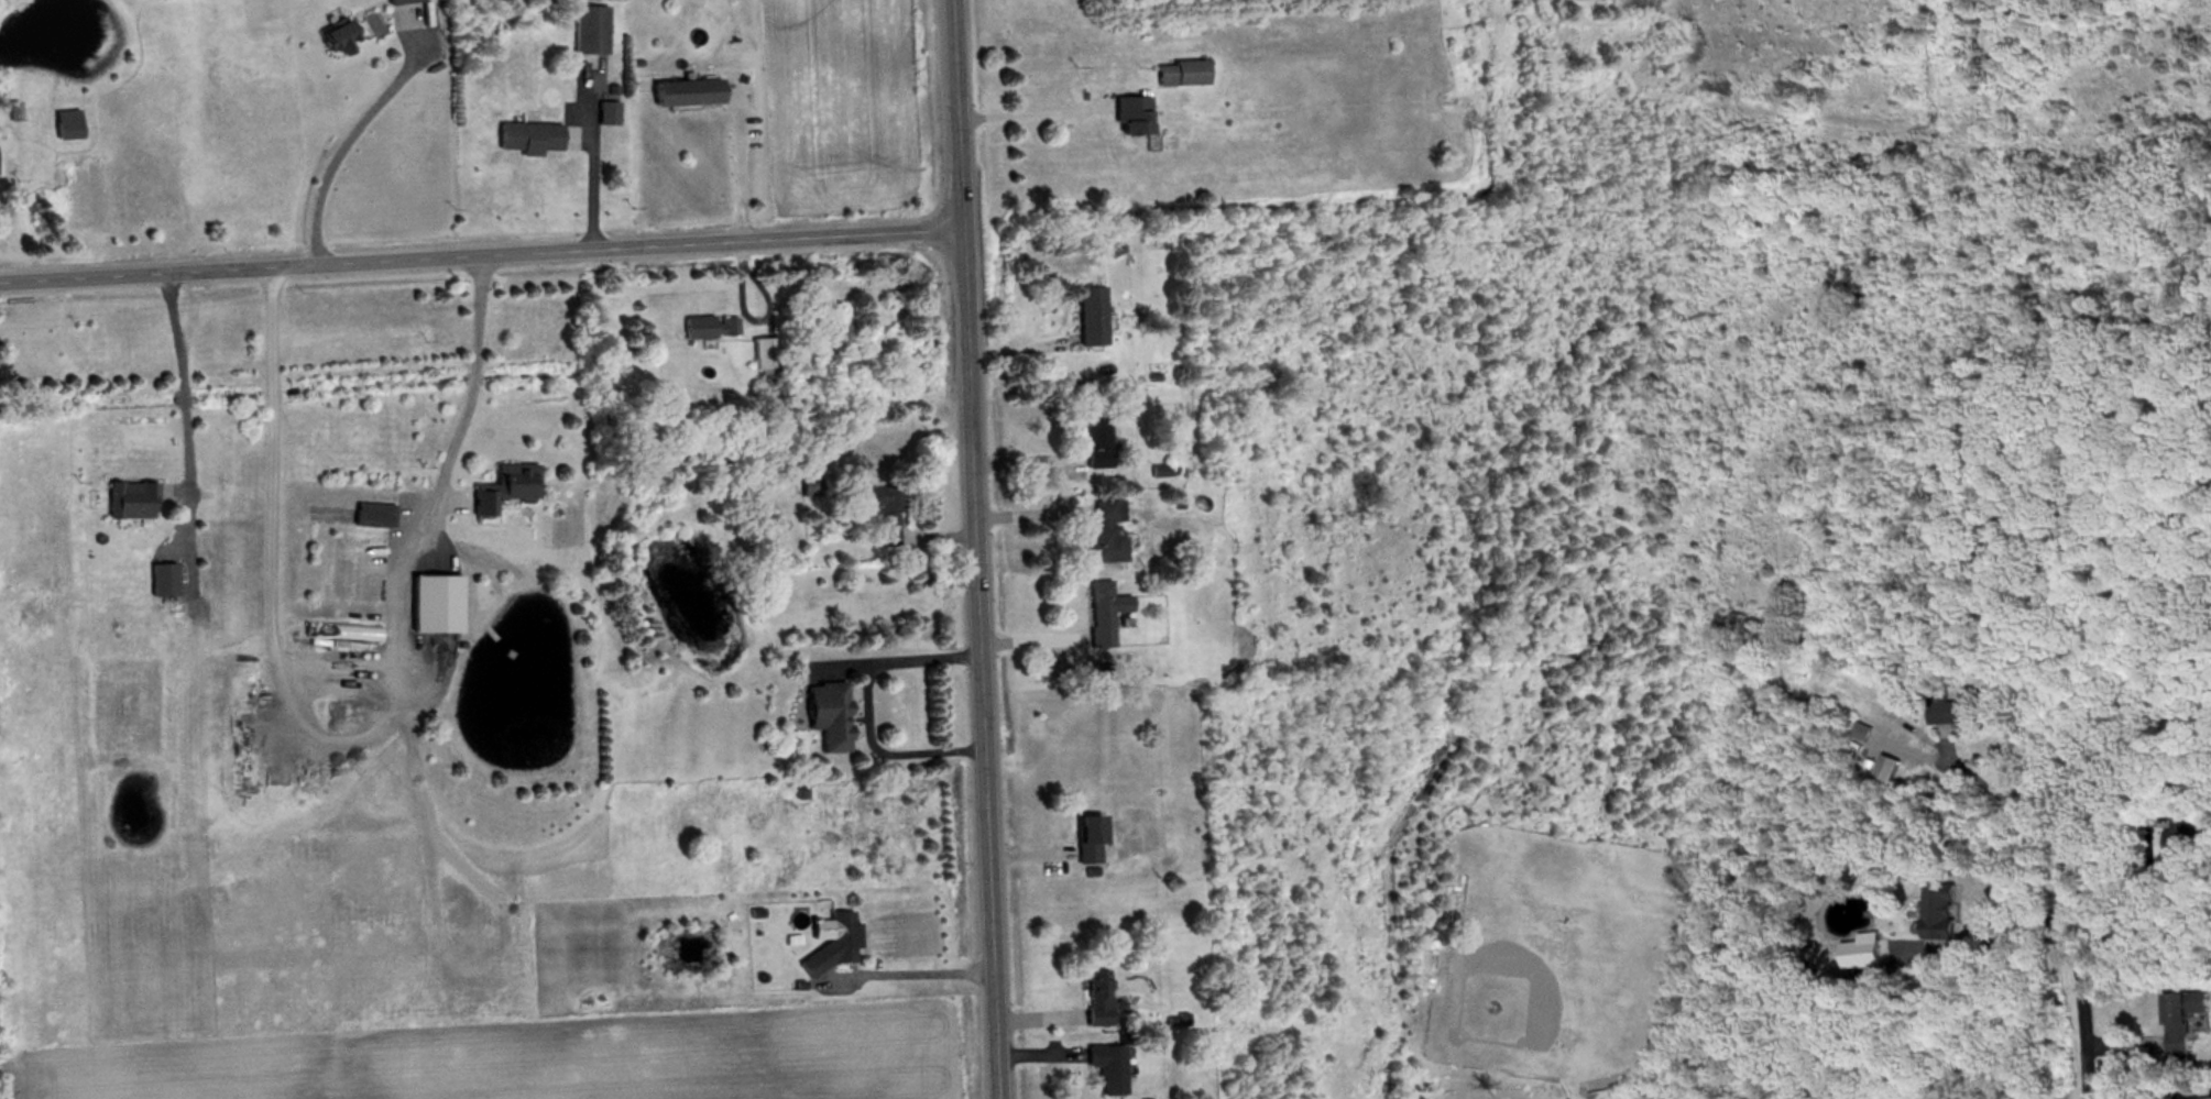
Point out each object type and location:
building: (404, 2)
building: (591, 32)
building: (339, 41)
building: (1182, 76)
building: (687, 95)
road: (1021, 108)
building: (609, 117)
building: (1132, 119)
building: (67, 127)
road: (344, 136)
building: (530, 140)
road: (591, 161)
road: (741, 167)
road: (478, 260)
building: (1092, 318)
building: (713, 329)
building: (766, 356)
road: (171, 386)
road: (467, 396)
building: (1098, 440)
building: (808, 490)
building: (505, 492)
building: (132, 503)
building: (887, 514)
building: (374, 518)
building: (1107, 534)
road: (973, 549)
building: (164, 583)
building: (436, 600)
building: (1106, 615)
road: (898, 655)
building: (1964, 713)
building: (829, 717)
road: (884, 746)
road: (1990, 781)
building: (2185, 835)
building: (1092, 843)
building: (1940, 915)
road: (2017, 926)
building: (839, 946)
road: (910, 970)
road: (2077, 972)
building: (1101, 1000)
building: (2183, 1023)
building: (1112, 1070)

